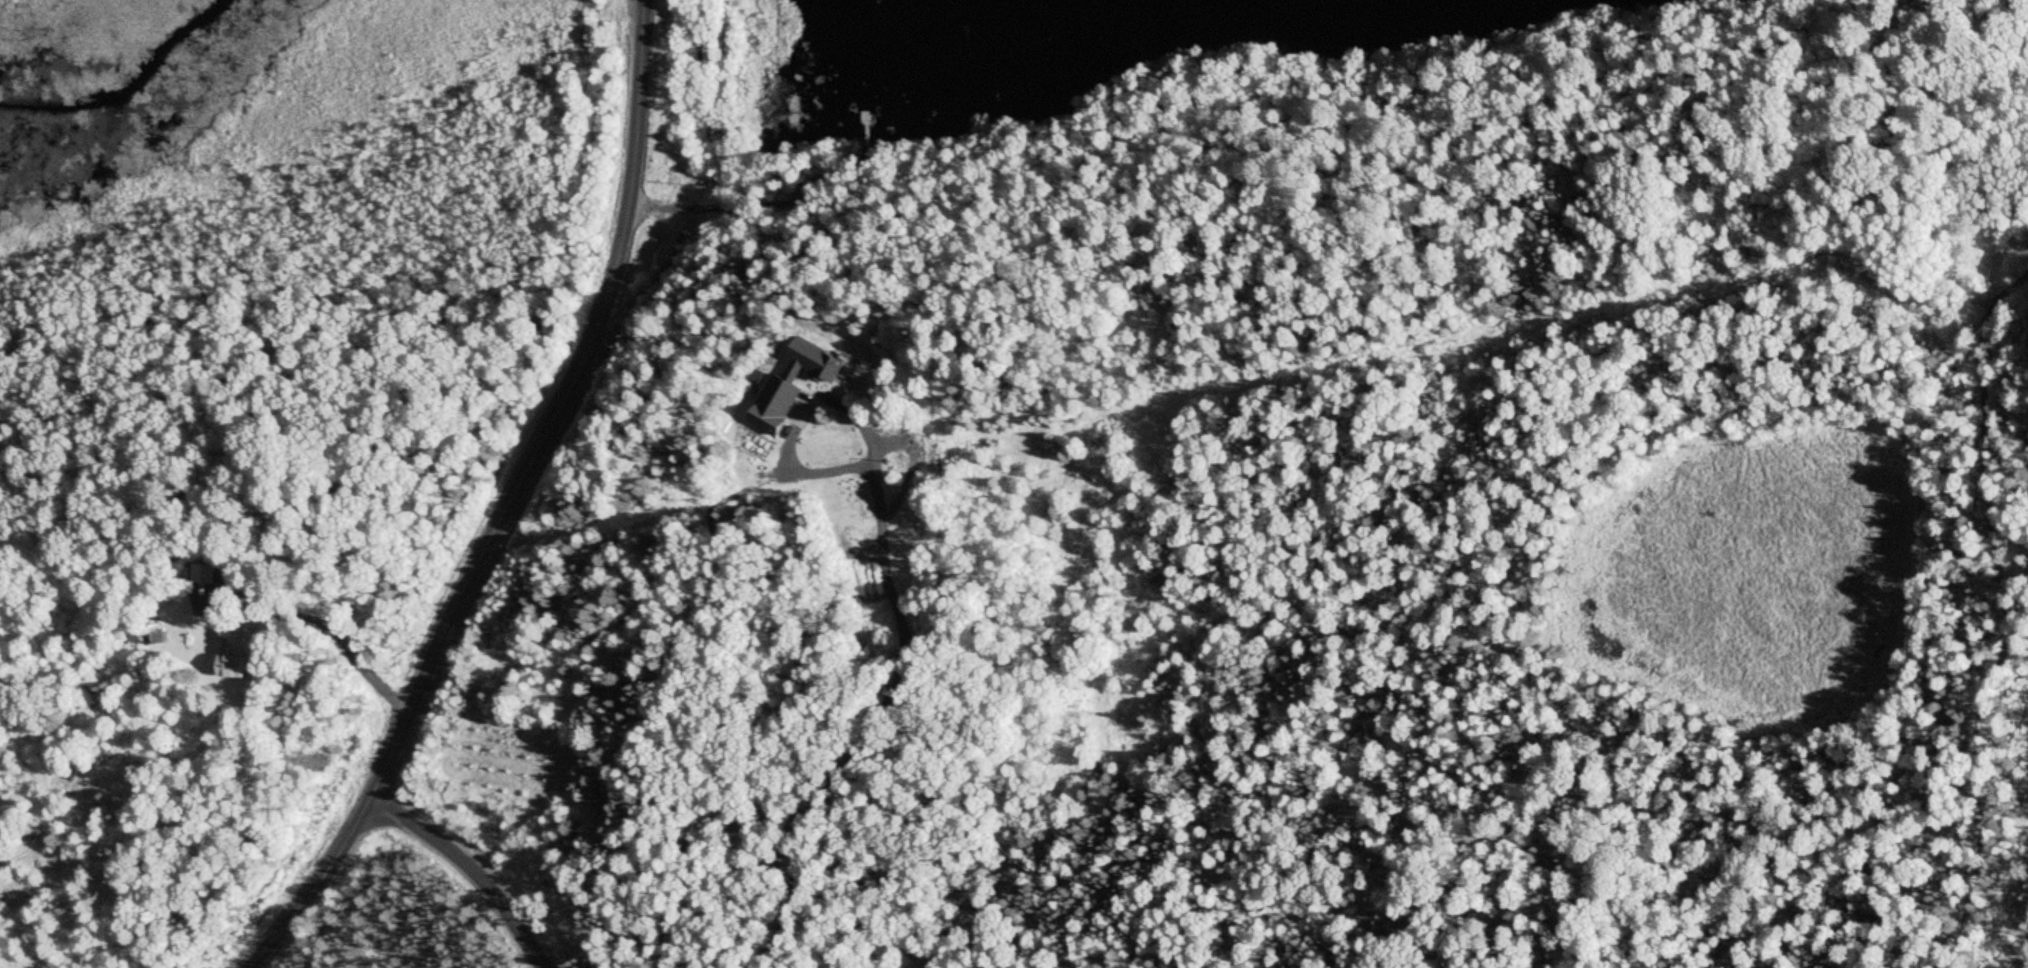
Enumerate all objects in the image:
building: (784, 403)
road: (508, 506)
building: (165, 635)
building: (245, 666)
road: (350, 675)
road: (477, 863)

